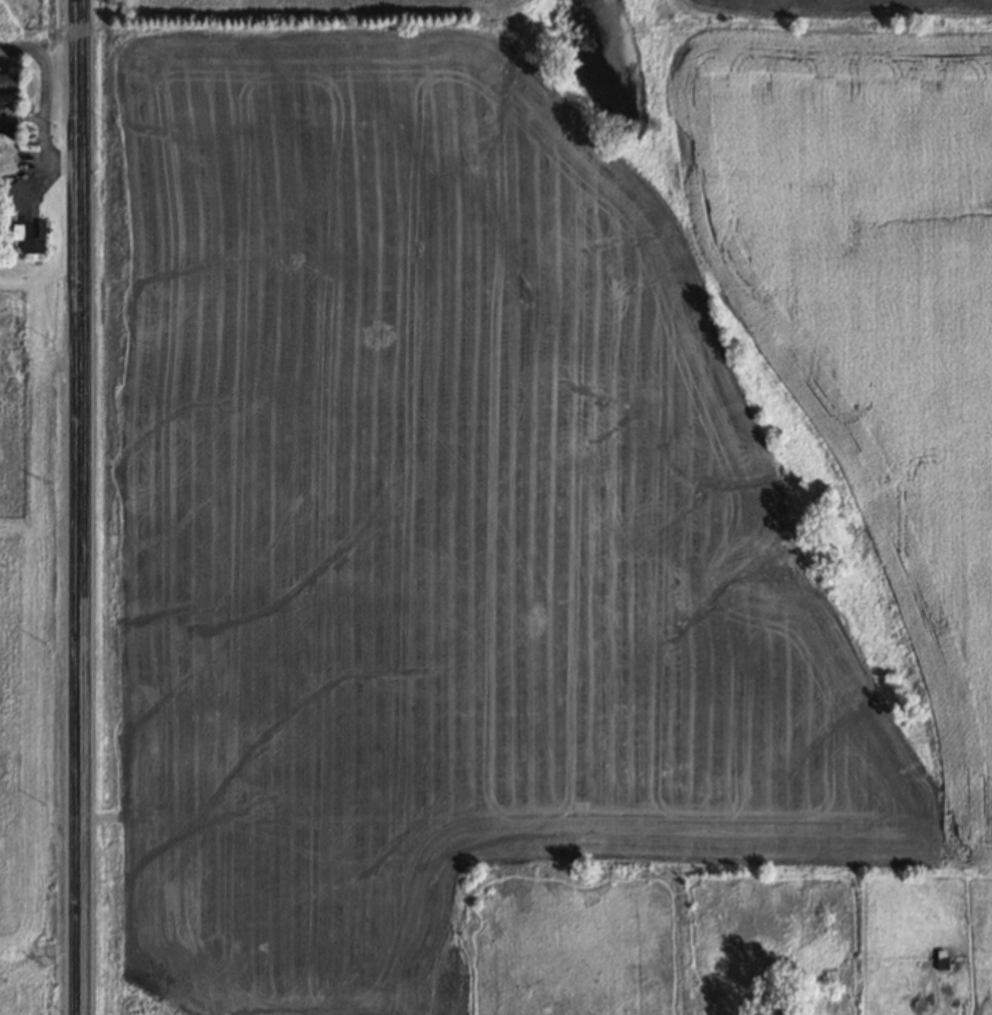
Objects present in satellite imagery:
building: (8, 105)
building: (24, 218)
road: (78, 507)

